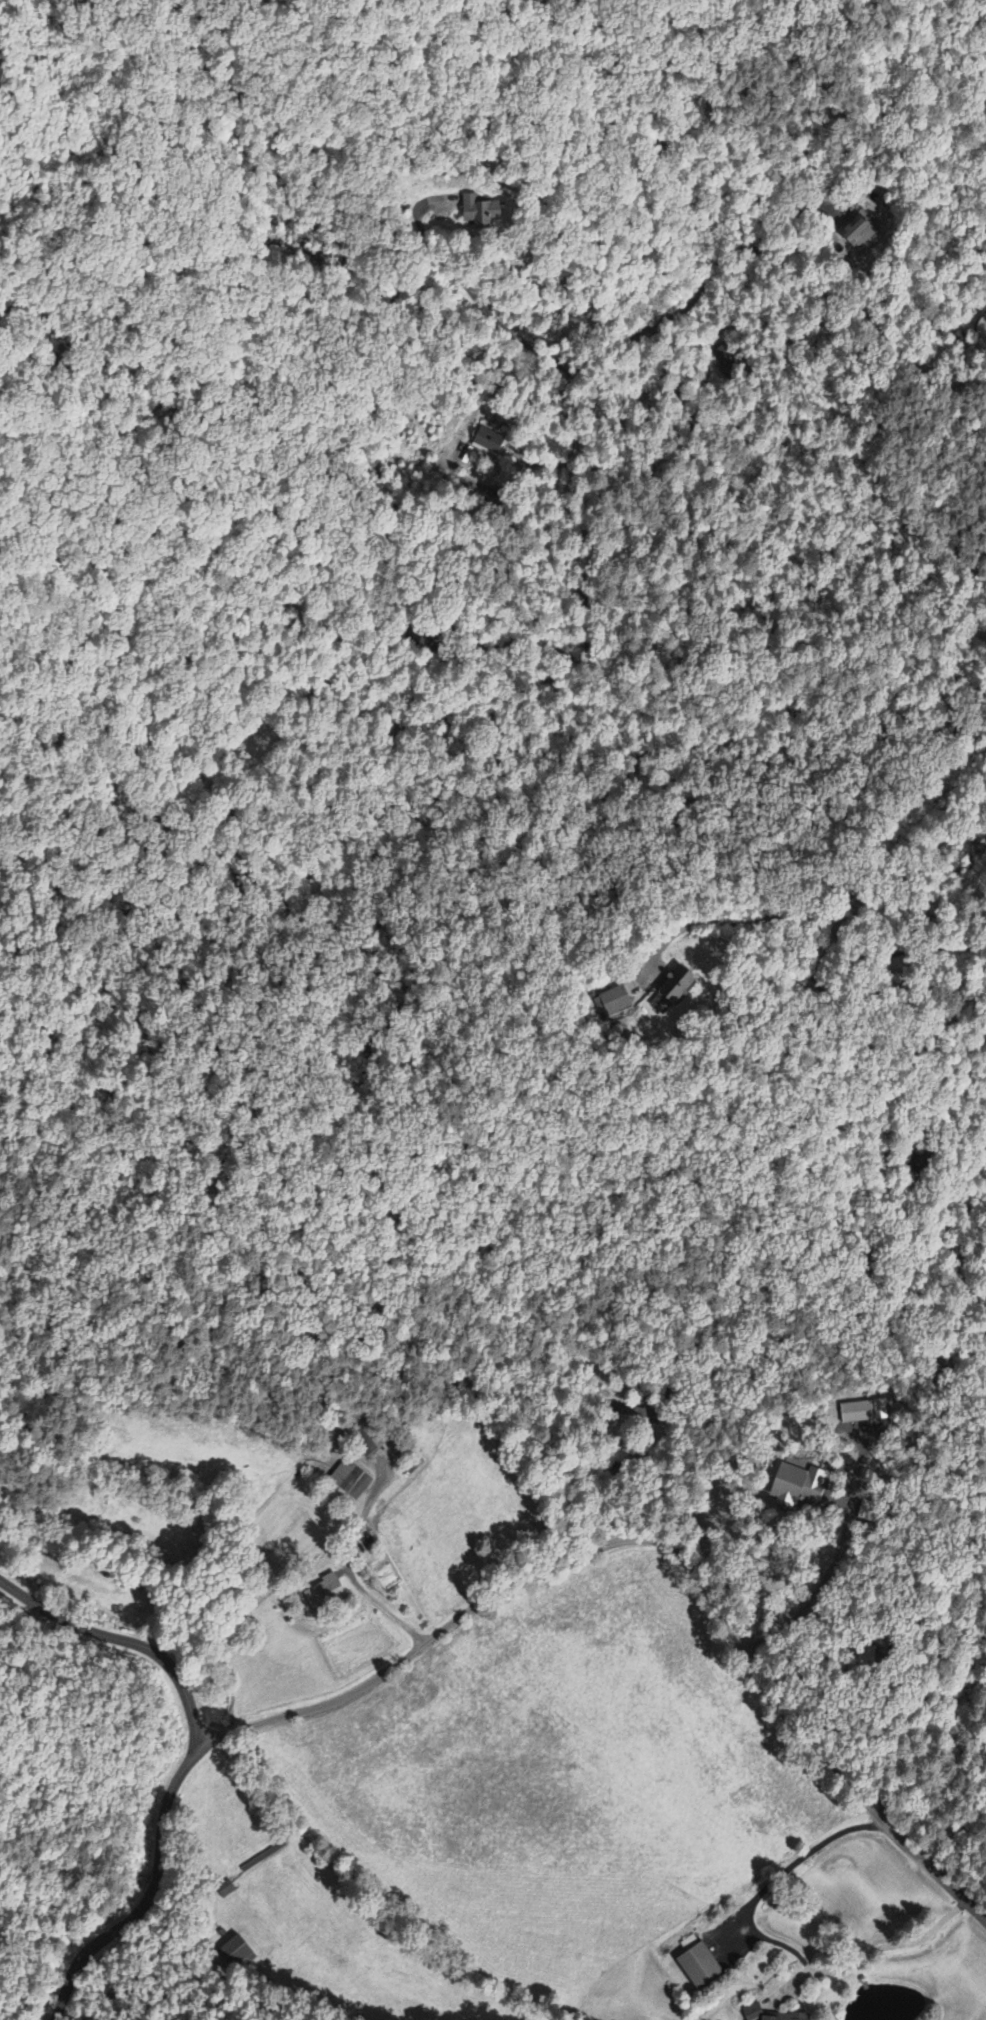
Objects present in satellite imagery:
building: (489, 214)
building: (859, 234)
road: (596, 359)
building: (488, 442)
road: (819, 950)
building: (672, 994)
building: (614, 1002)
road: (885, 1193)
building: (857, 1413)
building: (351, 1481)
building: (798, 1486)
road: (360, 1581)
road: (506, 1586)
building: (322, 1593)
road: (126, 1639)
building: (225, 1890)
building: (236, 1952)
building: (695, 1967)
building: (752, 2010)

